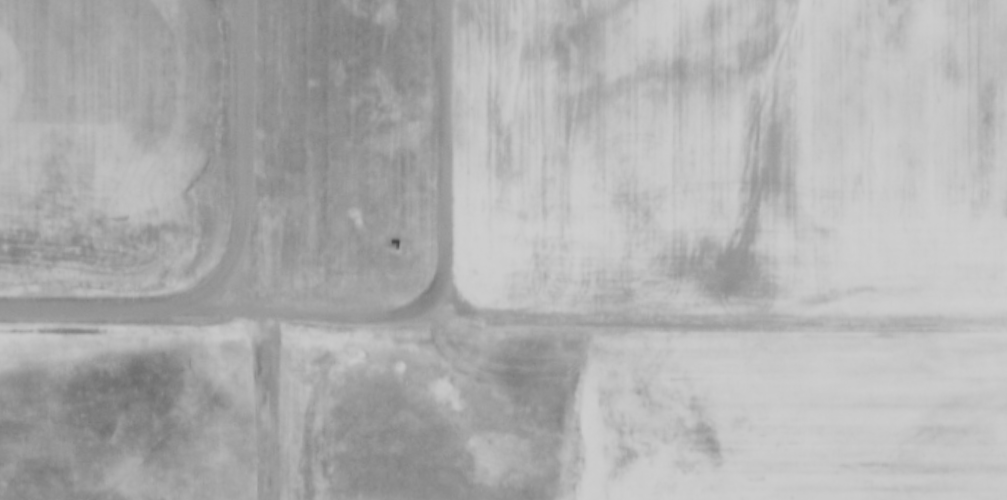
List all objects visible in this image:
road: (242, 167)
road: (89, 311)
road: (212, 313)
road: (626, 320)
road: (265, 351)

